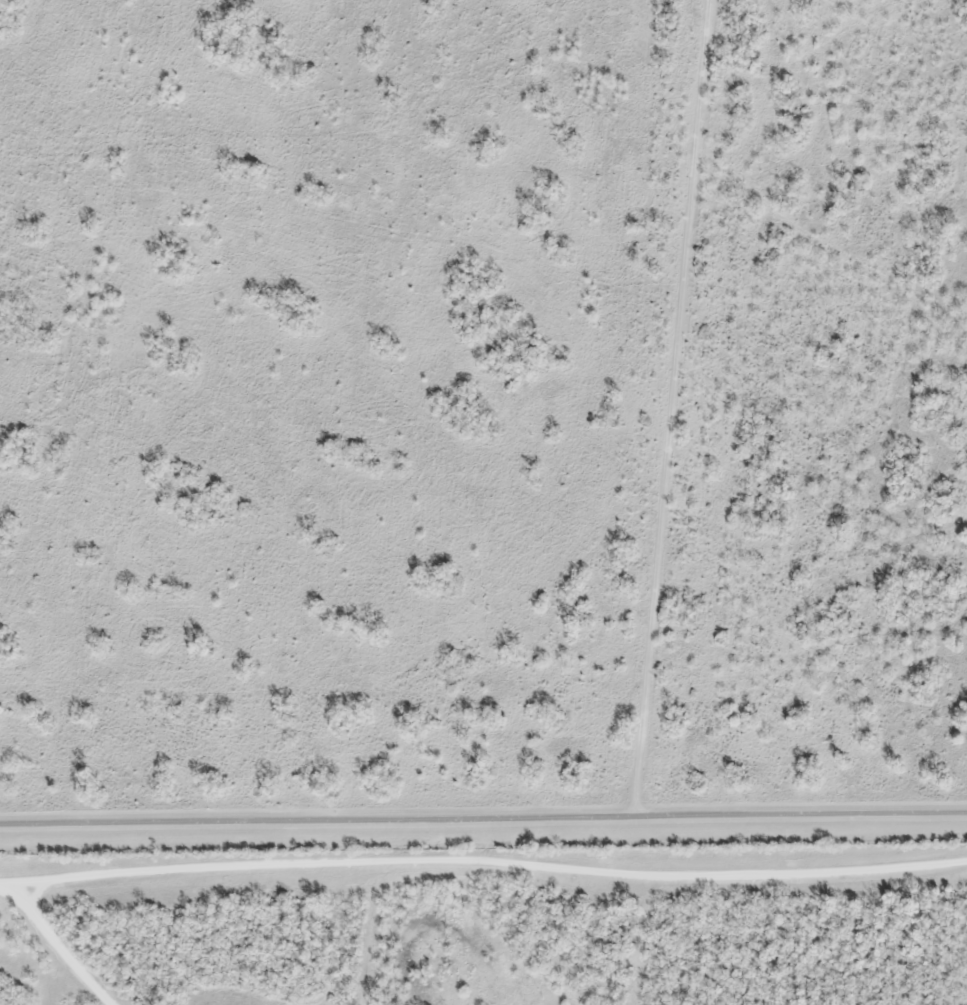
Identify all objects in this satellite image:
road: (483, 825)
road: (483, 862)

